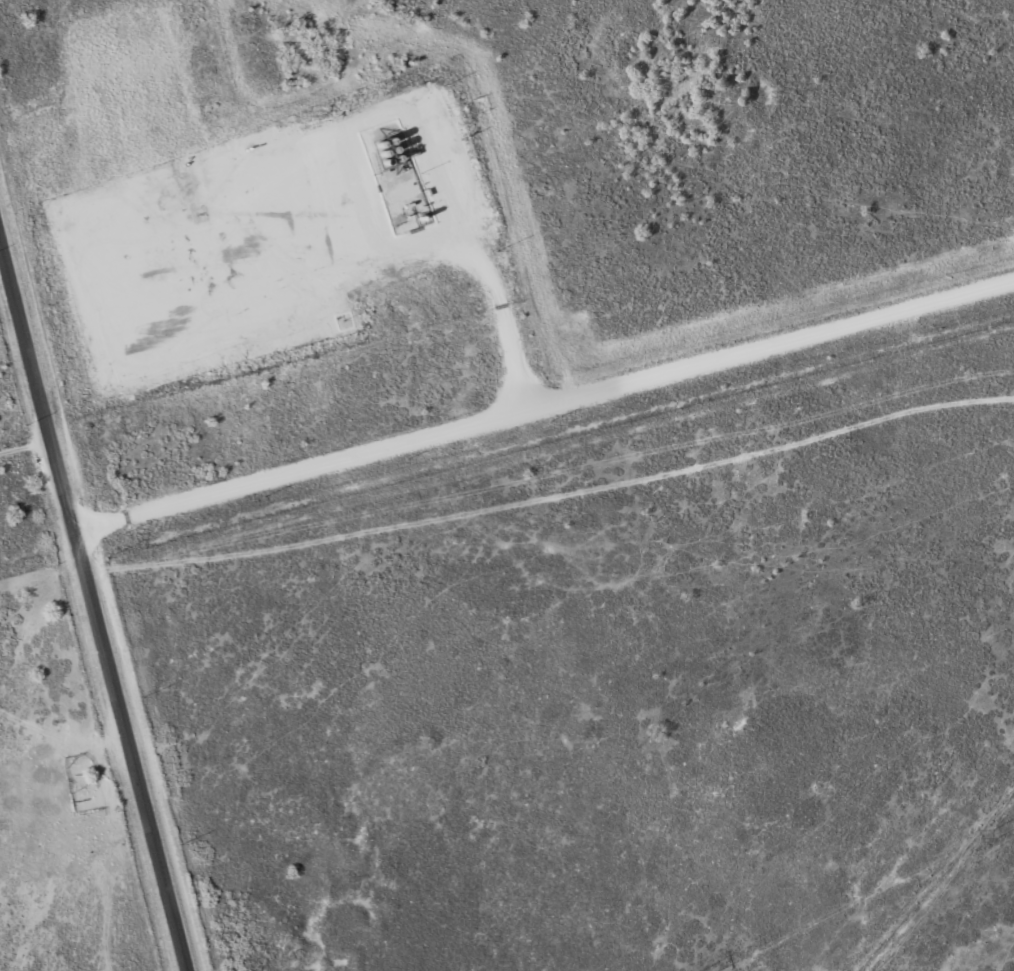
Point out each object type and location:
road: (546, 401)
road: (25, 447)
road: (92, 604)
power tower: (997, 831)

